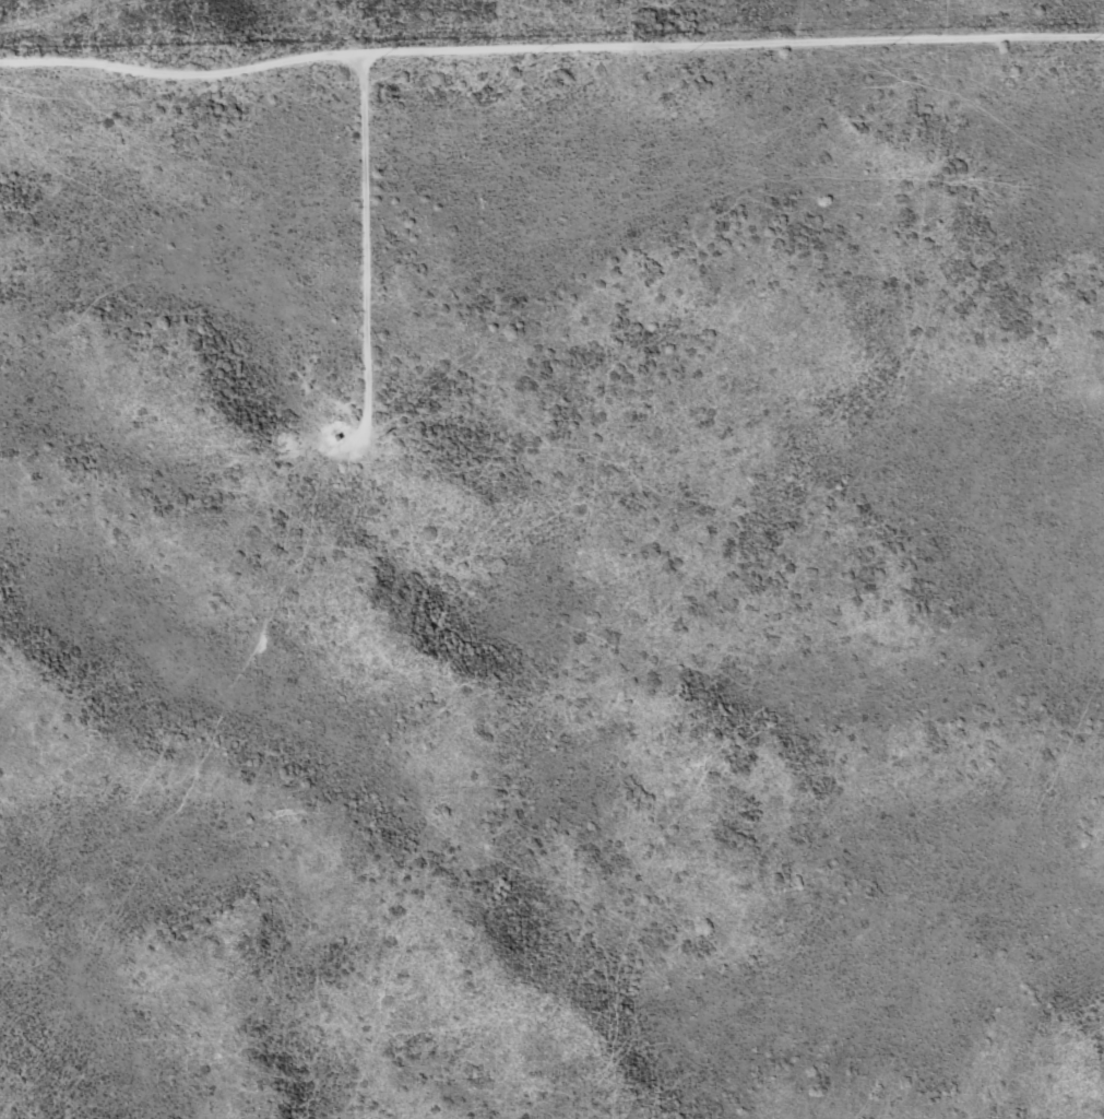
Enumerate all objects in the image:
road: (549, 46)

